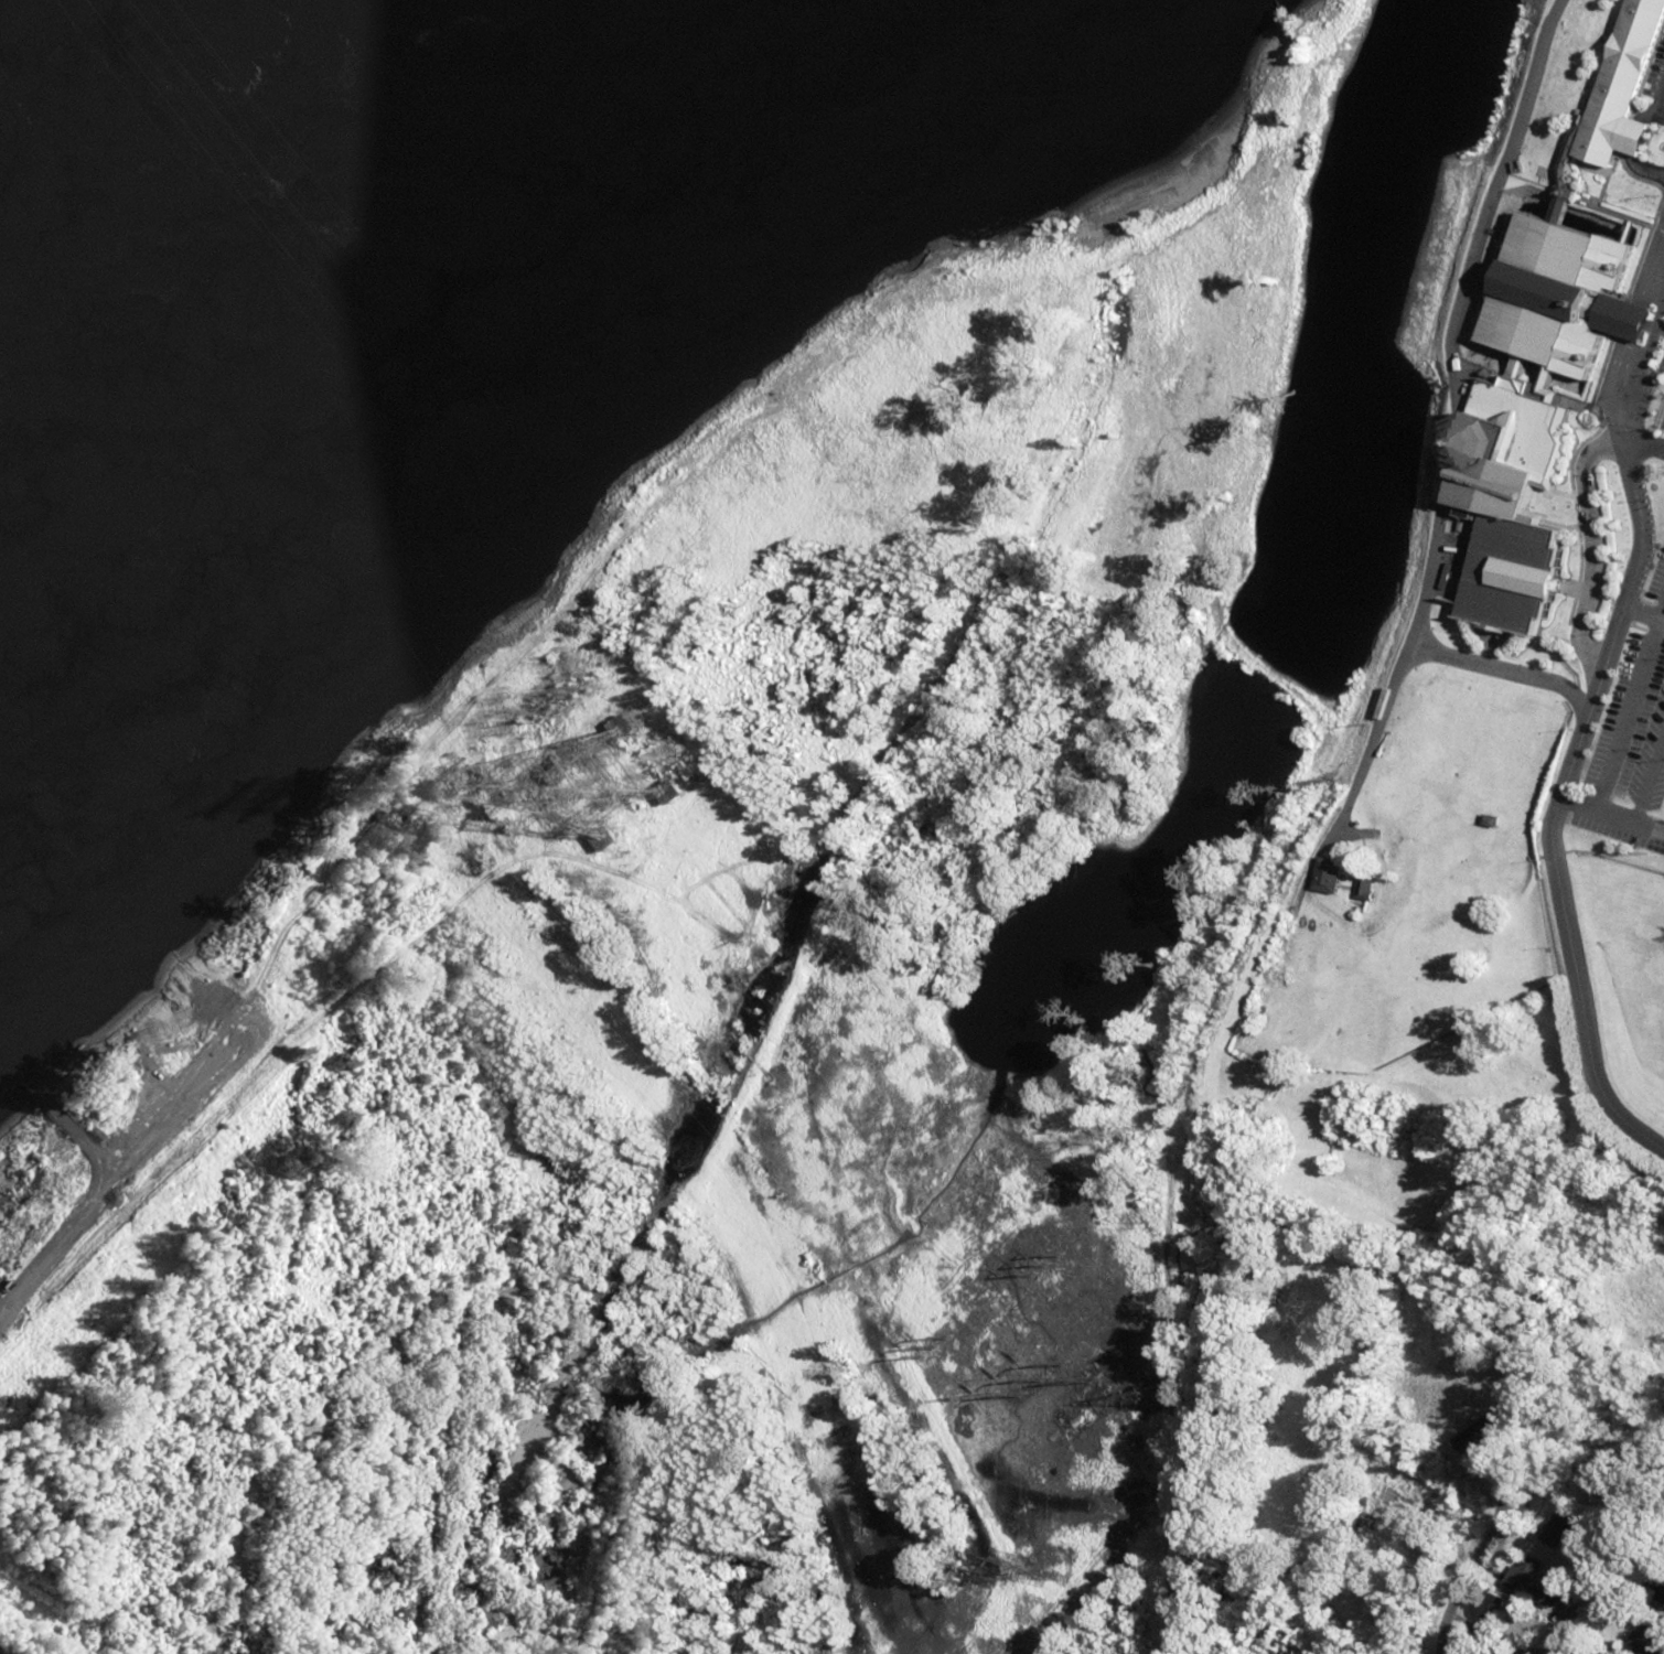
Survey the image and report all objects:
building: (1621, 108)
building: (1539, 411)
power tower: (625, 787)
road: (1557, 870)
building: (1335, 876)
power tower: (1052, 1378)
power tower: (1046, 1566)
building: (1533, 1583)
building: (1489, 1614)
building: (1641, 1645)

